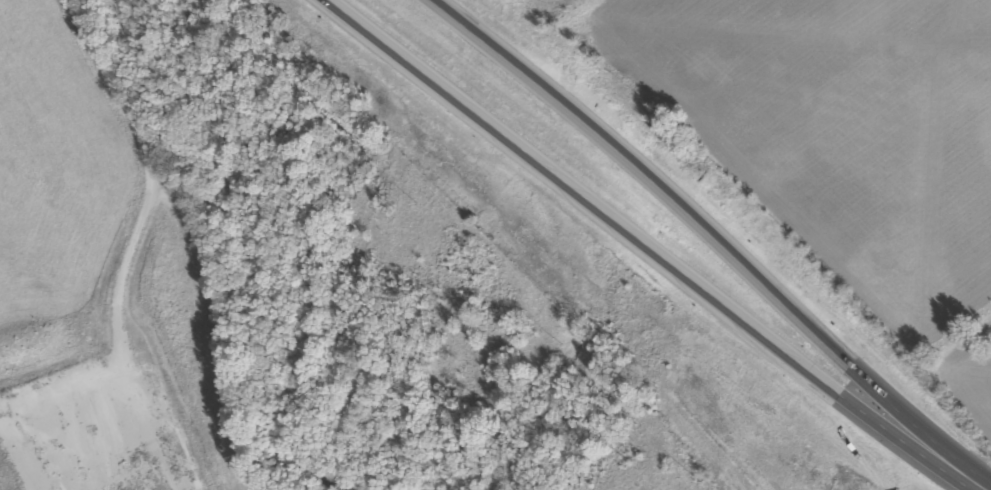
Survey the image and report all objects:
road: (147, 191)
road: (724, 228)
river: (305, 239)
road: (653, 247)
road: (982, 488)

